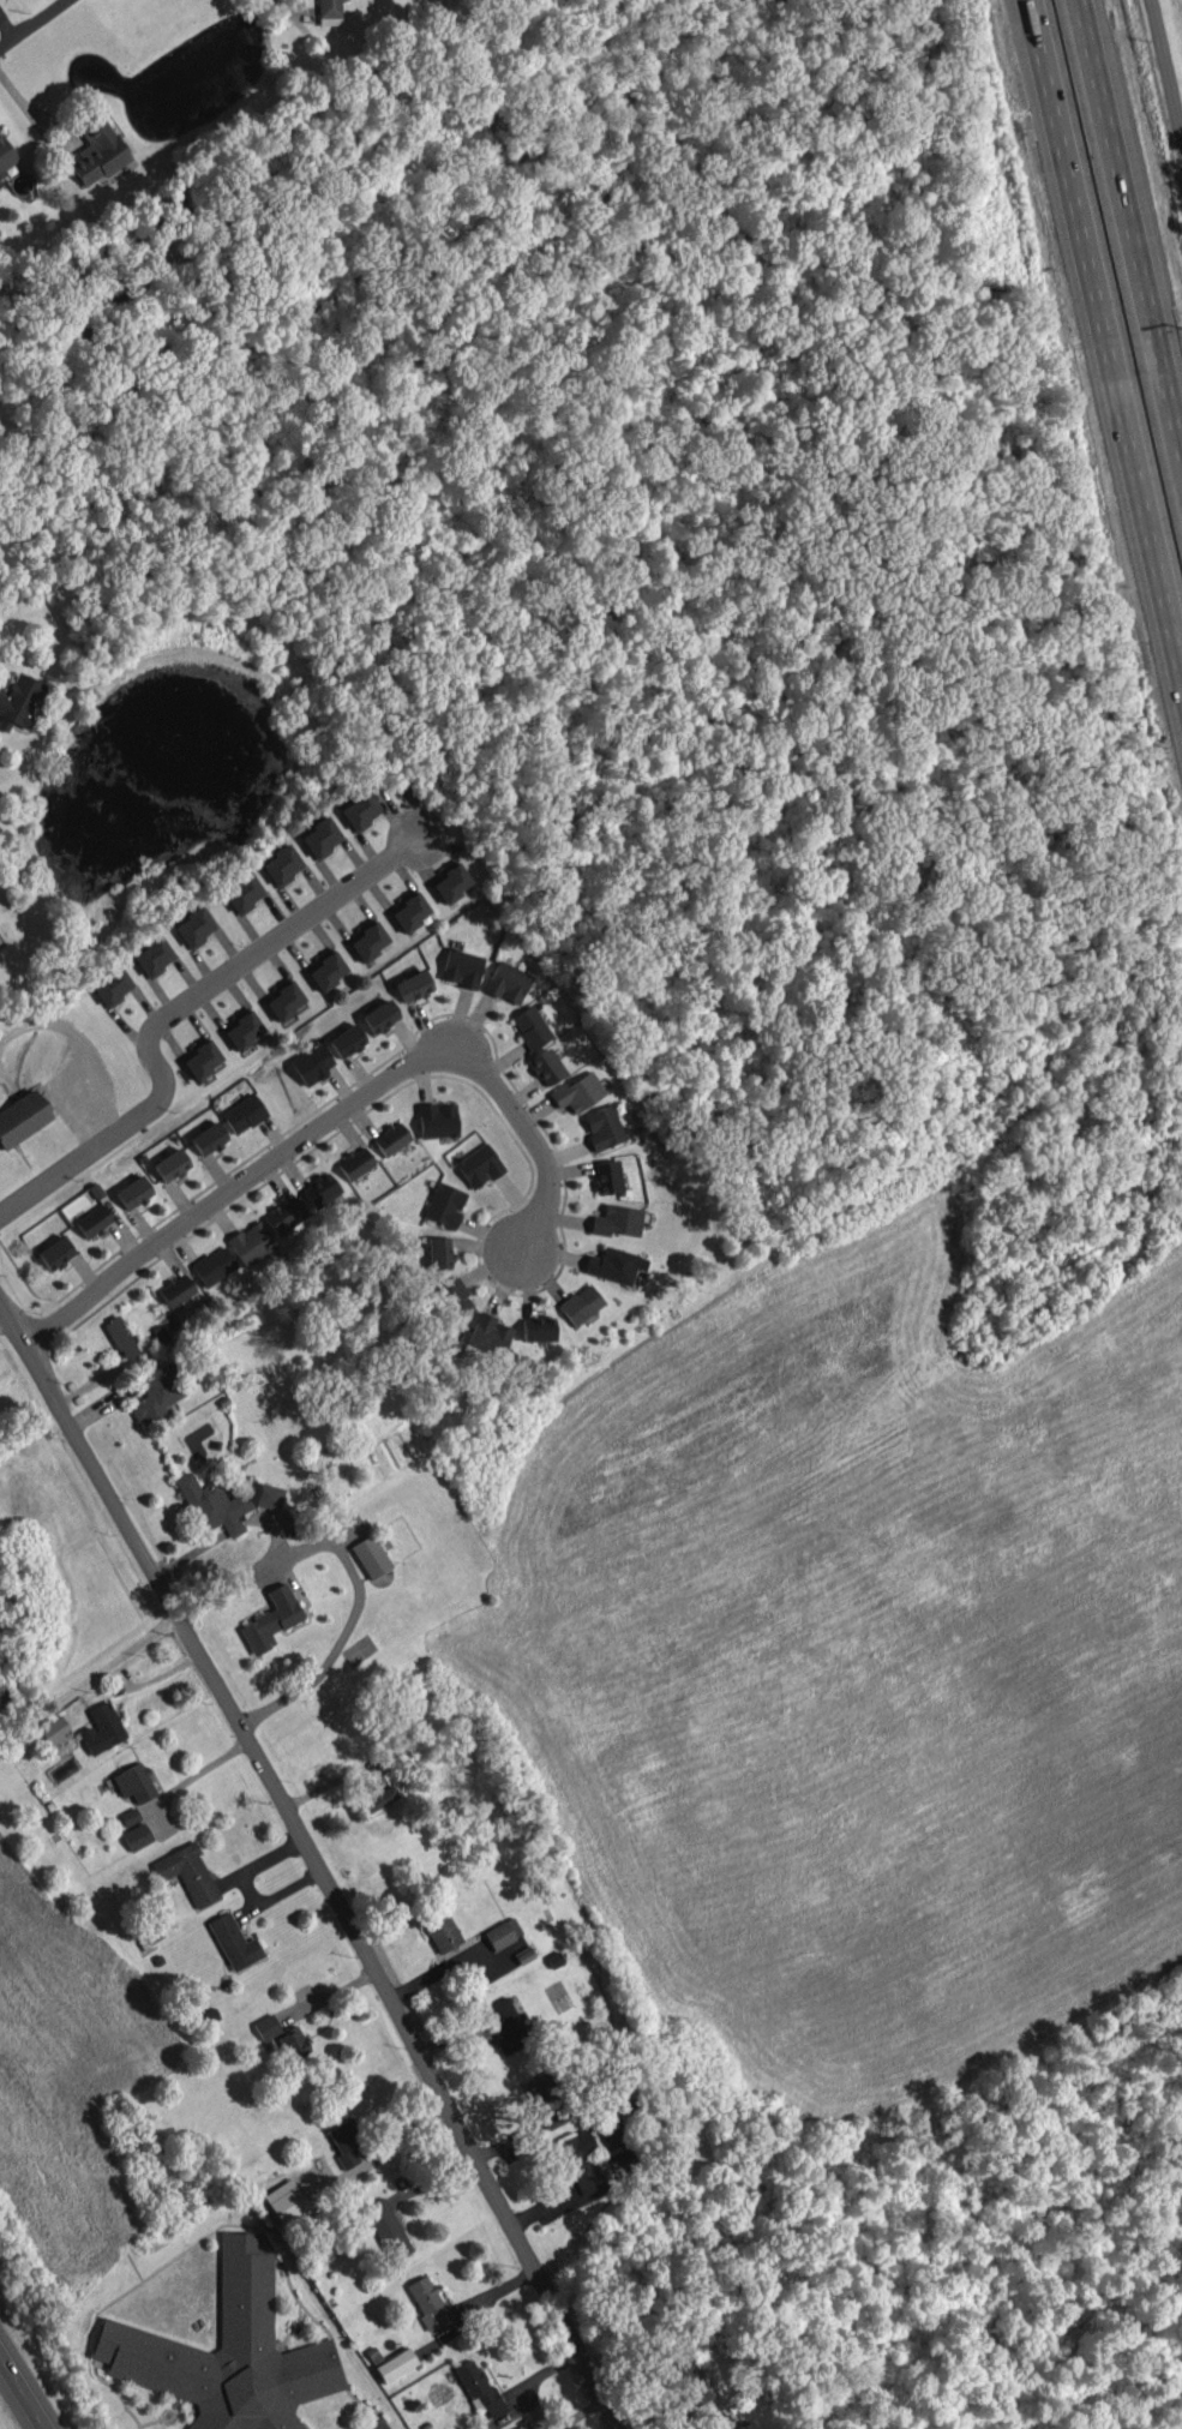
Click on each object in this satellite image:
road: (283, 7)
building: (329, 12)
road: (34, 25)
road: (1166, 67)
road: (30, 115)
building: (96, 149)
building: (6, 155)
road: (1135, 208)
road: (1099, 364)
building: (19, 701)
building: (359, 809)
building: (320, 838)
building: (282, 864)
building: (450, 881)
building: (242, 892)
building: (408, 910)
building: (194, 926)
building: (367, 938)
building: (152, 955)
building: (461, 967)
building: (325, 968)
building: (506, 982)
building: (110, 984)
building: (413, 985)
building: (283, 998)
road: (179, 1006)
building: (379, 1015)
building: (530, 1026)
building: (242, 1027)
building: (346, 1039)
road: (80, 1049)
building: (200, 1057)
building: (312, 1062)
building: (546, 1066)
building: (577, 1091)
building: (242, 1112)
building: (22, 1117)
road: (329, 1117)
building: (437, 1120)
building: (602, 1127)
building: (208, 1138)
building: (391, 1138)
building: (355, 1162)
building: (170, 1164)
building: (479, 1165)
building: (606, 1176)
building: (320, 1189)
building: (133, 1190)
building: (444, 1205)
building: (284, 1214)
building: (92, 1221)
building: (617, 1221)
building: (251, 1242)
building: (55, 1252)
building: (439, 1252)
building: (614, 1264)
building: (212, 1265)
building: (176, 1290)
building: (455, 1299)
building: (580, 1303)
building: (538, 1329)
building: (490, 1335)
building: (120, 1337)
building: (156, 1393)
building: (265, 1494)
building: (212, 1504)
building: (370, 1555)
building: (270, 1619)
road: (176, 1623)
road: (332, 1649)
building: (102, 1728)
building: (54, 1729)
building: (134, 1782)
building: (376, 1794)
building: (128, 1815)
building: (137, 1836)
road: (316, 1863)
building: (187, 1872)
building: (440, 1931)
building: (502, 1932)
building: (149, 1935)
building: (234, 1942)
building: (506, 2025)
building: (266, 2026)
building: (293, 2044)
building: (547, 2099)
building: (612, 2133)
building: (344, 2142)
building: (580, 2161)
building: (624, 2164)
building: (284, 2200)
road: (578, 2200)
building: (386, 2227)
building: (428, 2303)
building: (227, 2352)
building: (395, 2364)
building: (686, 2379)
building: (479, 2388)
road: (22, 2391)
building: (719, 2423)
building: (378, 2424)

